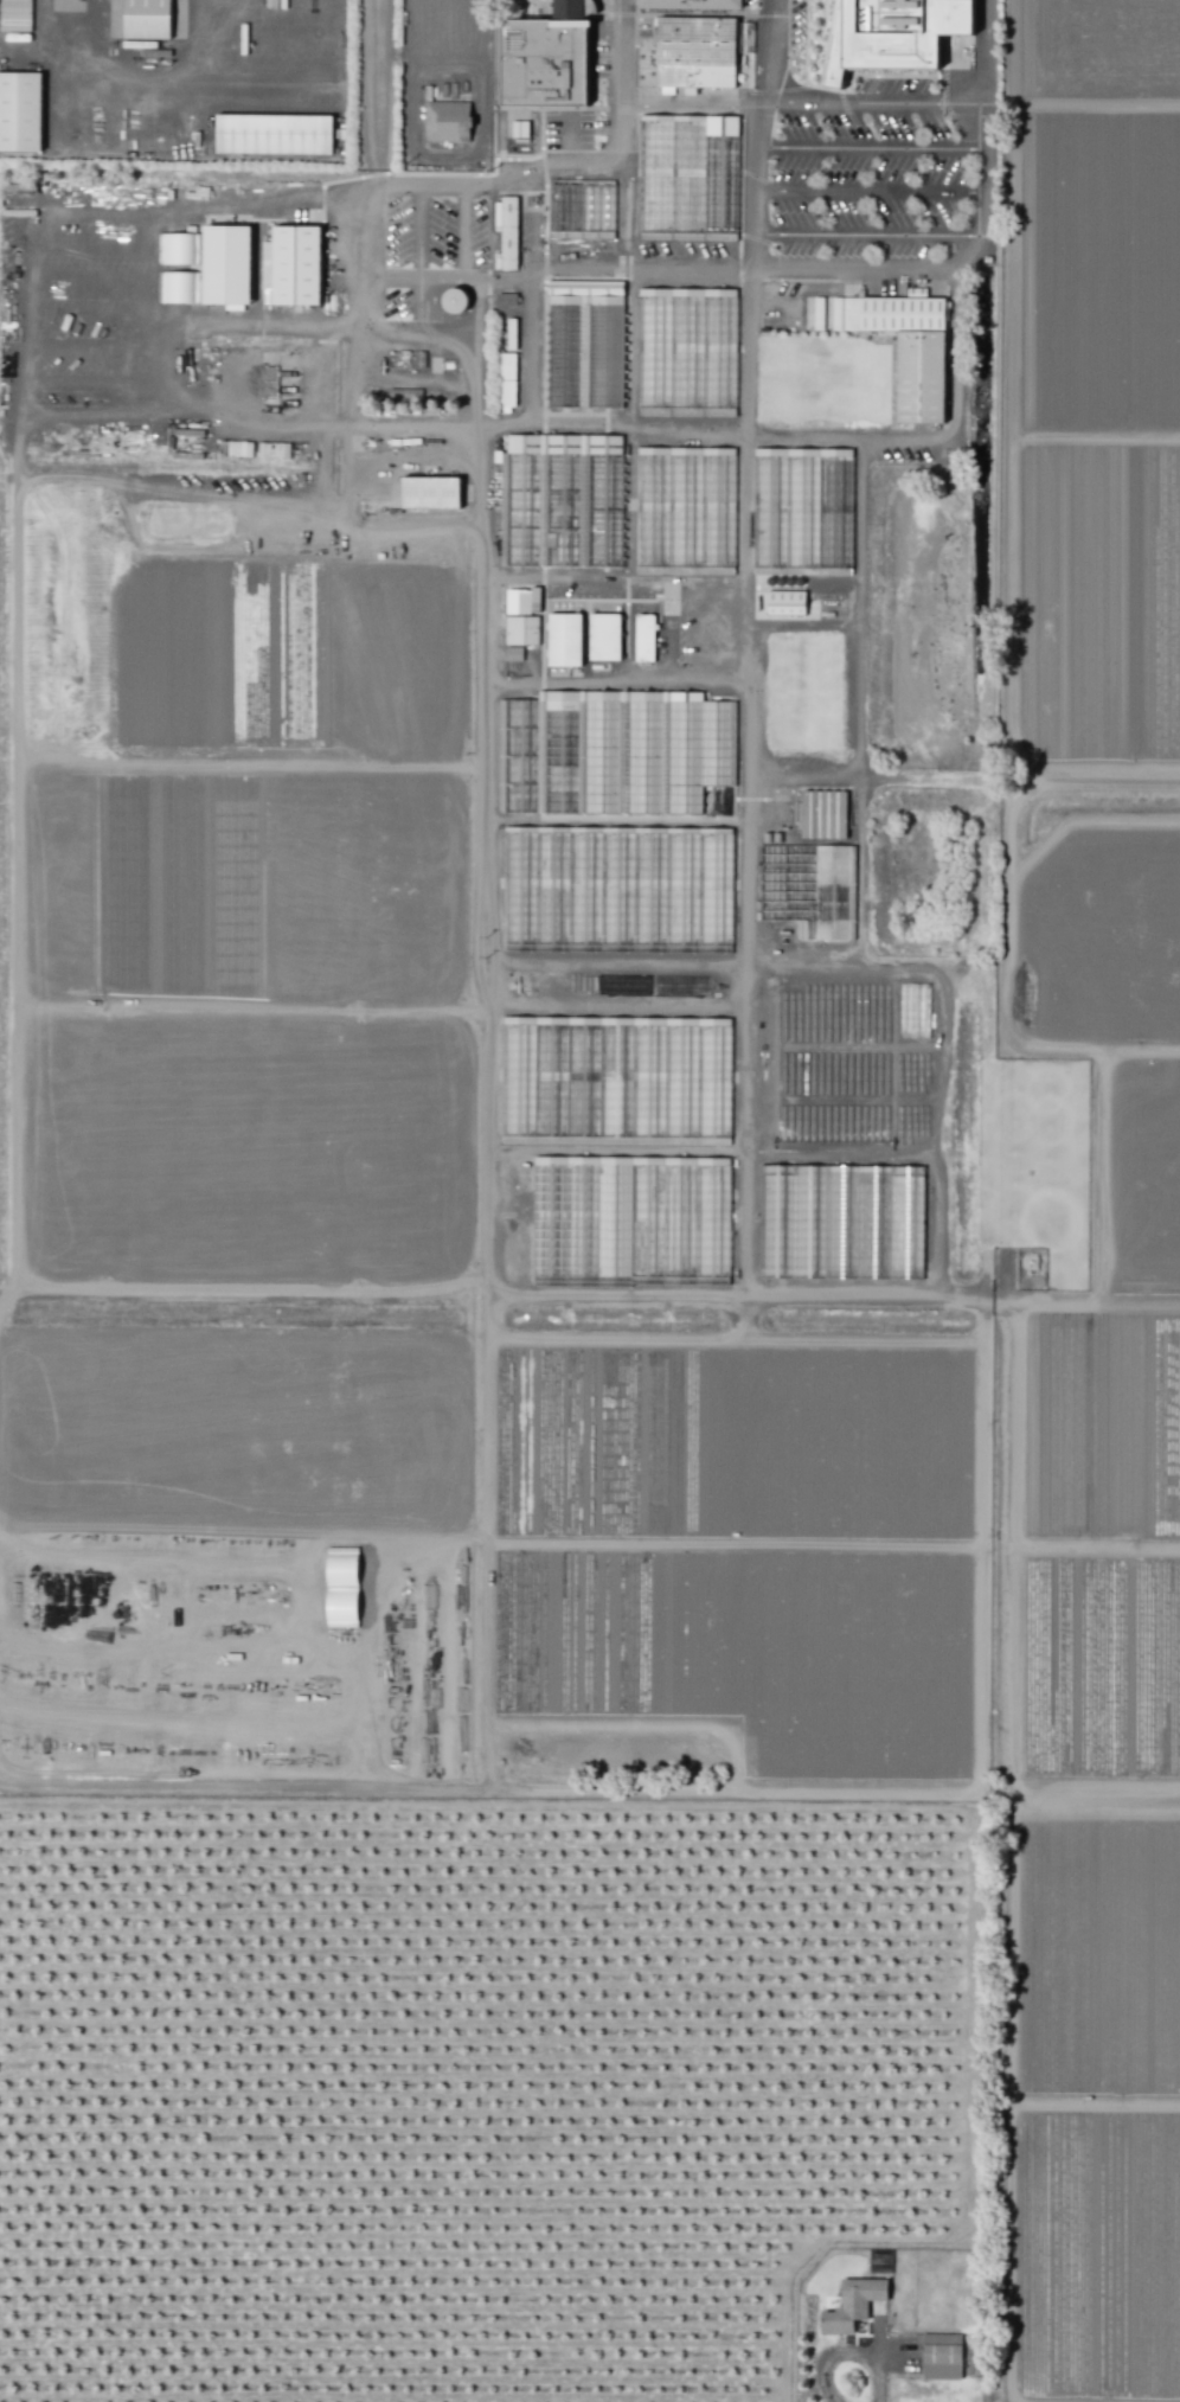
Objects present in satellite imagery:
building: (690, 4)
building: (146, 19)
building: (890, 34)
building: (255, 39)
road: (765, 51)
building: (694, 52)
road: (986, 52)
building: (544, 58)
road: (637, 103)
road: (876, 103)
building: (19, 111)
building: (444, 121)
road: (756, 123)
road: (987, 126)
building: (518, 129)
parking lot: (566, 129)
building: (271, 134)
road: (872, 147)
road: (537, 165)
road: (755, 168)
road: (988, 171)
building: (686, 177)
road: (368, 182)
road: (441, 191)
road: (871, 191)
road: (269, 200)
road: (90, 211)
building: (579, 211)
road: (753, 211)
road: (987, 226)
road: (169, 229)
parking lot: (432, 232)
building: (506, 235)
road: (865, 235)
road: (463, 236)
road: (982, 236)
road: (100, 244)
road: (752, 251)
road: (617, 254)
road: (366, 258)
road: (169, 264)
building: (225, 264)
building: (294, 265)
parking lot: (383, 269)
road: (874, 269)
road: (441, 281)
road: (95, 282)
building: (505, 300)
building: (453, 301)
storage tank: (453, 301)
parking lot: (90, 309)
road: (21, 313)
road: (95, 318)
road: (328, 322)
road: (169, 333)
building: (583, 344)
building: (904, 347)
building: (685, 351)
road: (749, 352)
road: (95, 354)
road: (393, 378)
building: (506, 379)
road: (94, 384)
crop: (1098, 384)
road: (485, 386)
road: (169, 401)
road: (78, 415)
road: (348, 427)
road: (926, 431)
building: (428, 492)
building: (559, 500)
building: (684, 511)
building: (801, 512)
road: (860, 532)
building: (521, 601)
building: (784, 602)
building: (520, 630)
building: (603, 636)
building: (643, 638)
building: (563, 640)
building: (512, 654)
building: (613, 751)
road: (860, 761)
building: (822, 814)
building: (616, 889)
road: (745, 898)
road: (487, 922)
building: (615, 1080)
building: (628, 1221)
building: (839, 1221)
crop: (1096, 1287)
building: (340, 1587)
building: (852, 2305)
road: (844, 2353)
building: (939, 2356)

